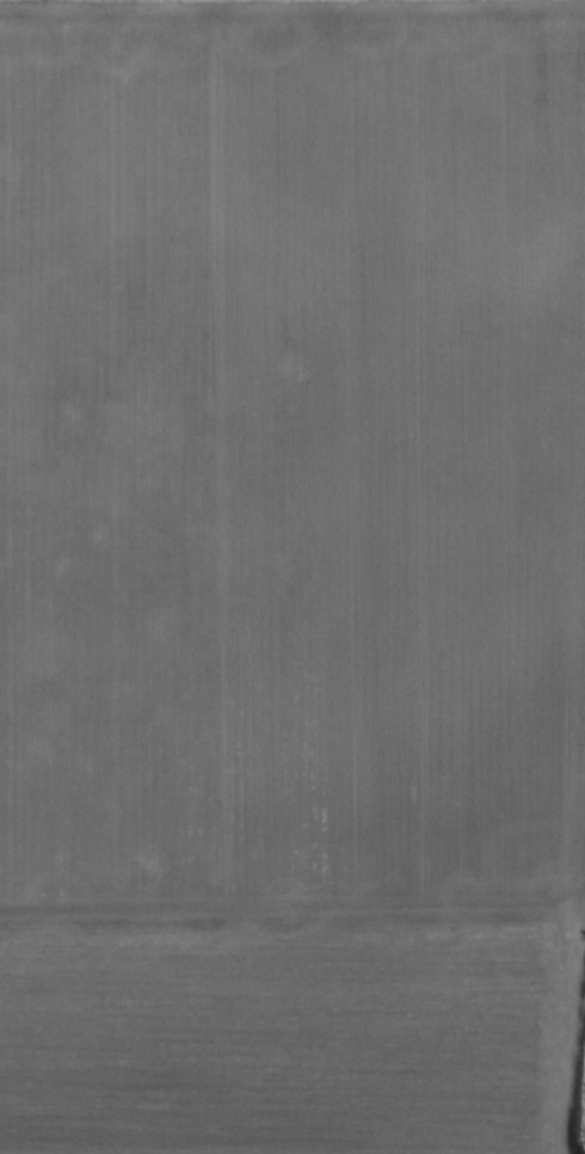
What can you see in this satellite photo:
road: (470, 1037)

